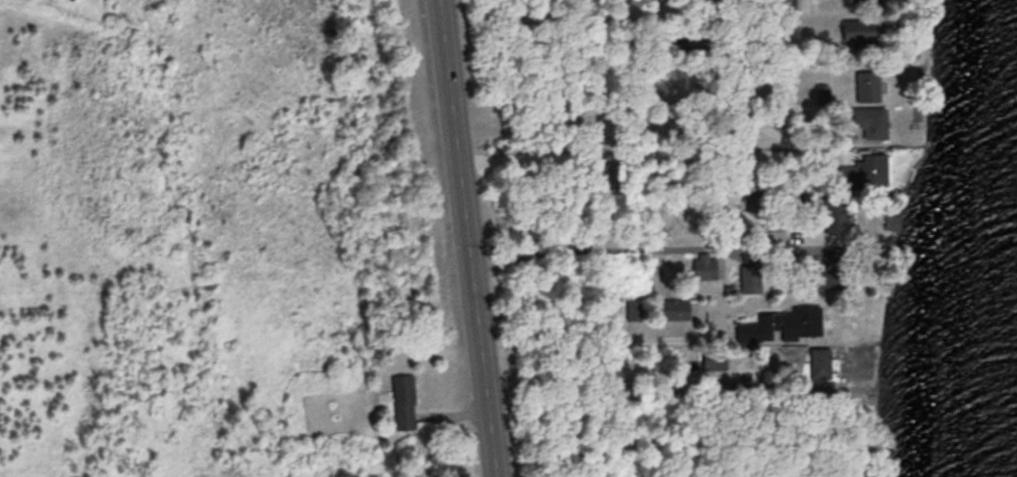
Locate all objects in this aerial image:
building: (860, 31)
building: (867, 84)
building: (822, 92)
building: (871, 121)
building: (867, 170)
building: (755, 201)
building: (835, 215)
road: (467, 238)
building: (705, 262)
building: (678, 307)
building: (781, 320)
building: (404, 400)

